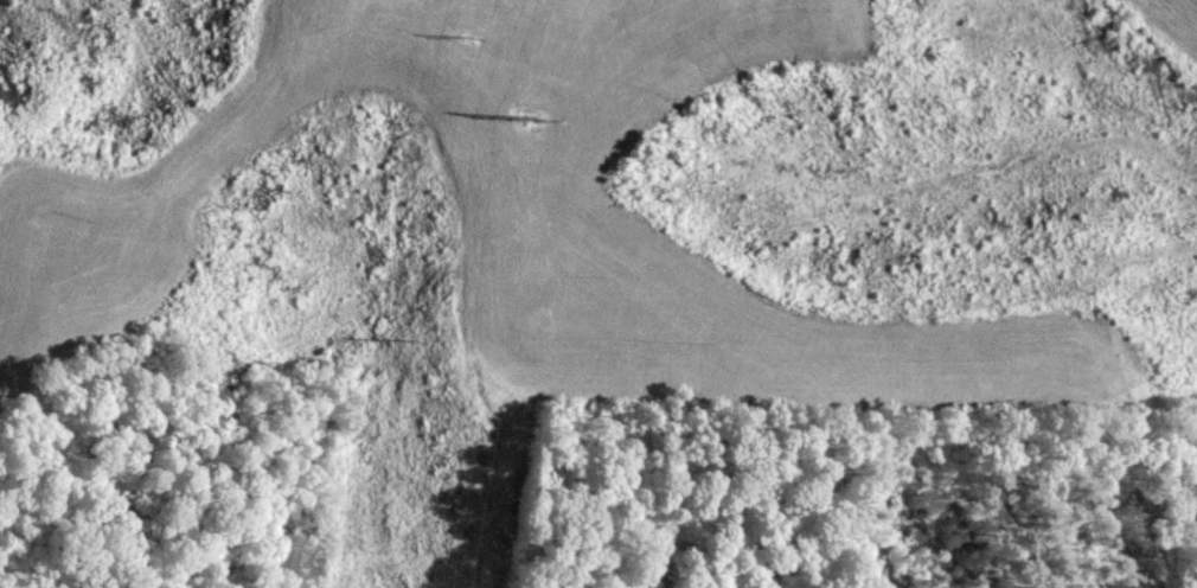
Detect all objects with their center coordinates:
power tower: (521, 123)

